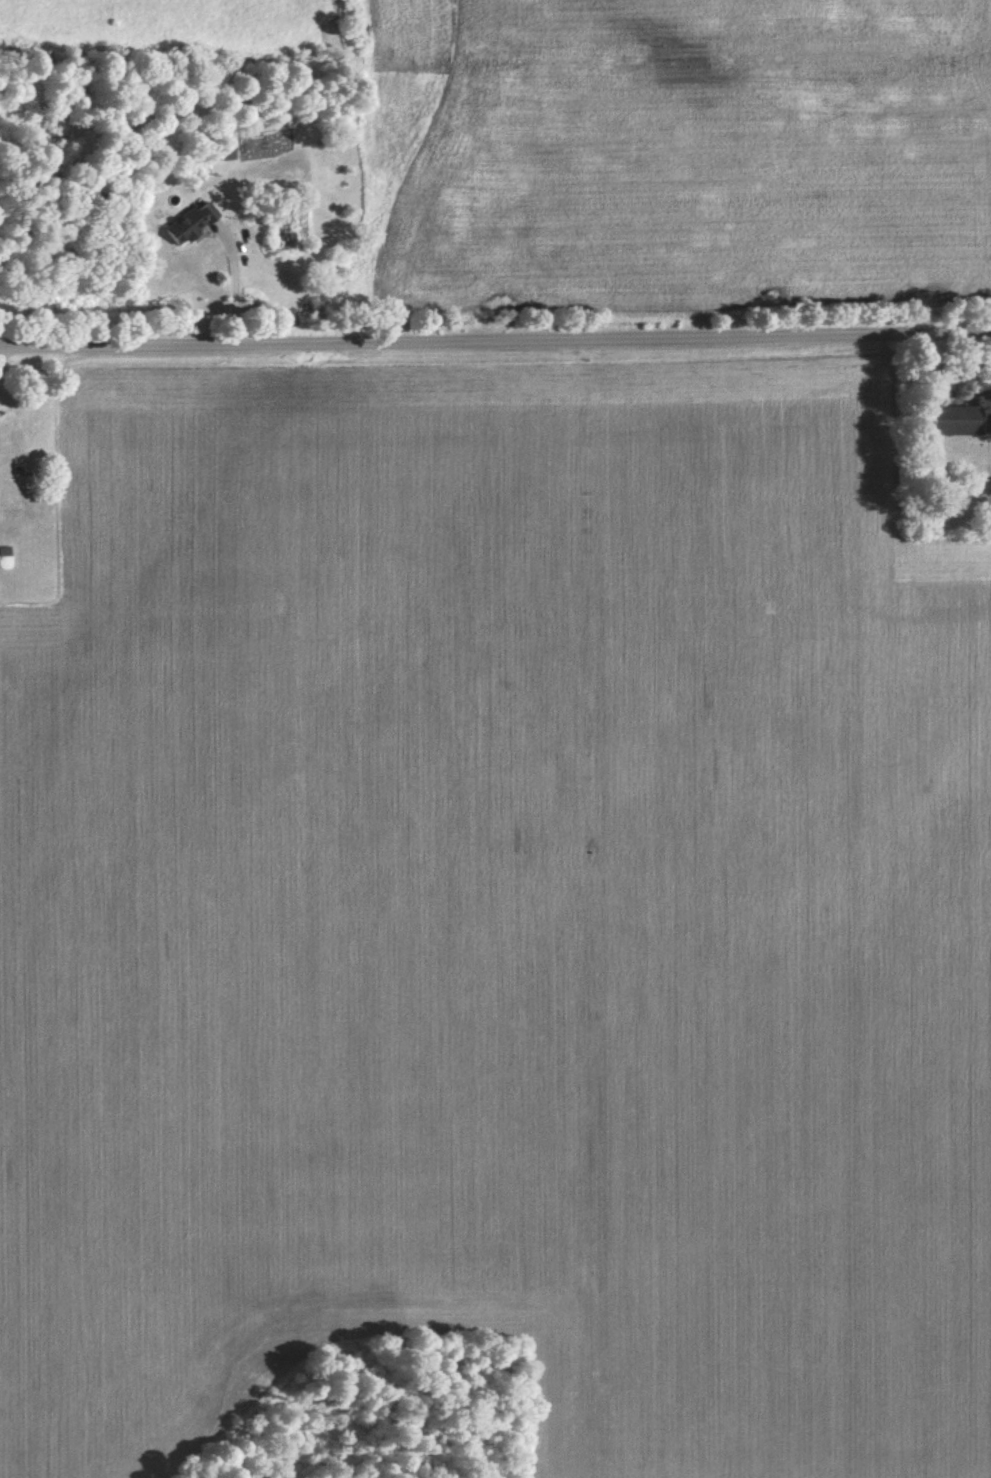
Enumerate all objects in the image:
building: (190, 225)
building: (282, 226)
road: (495, 339)
building: (960, 421)

